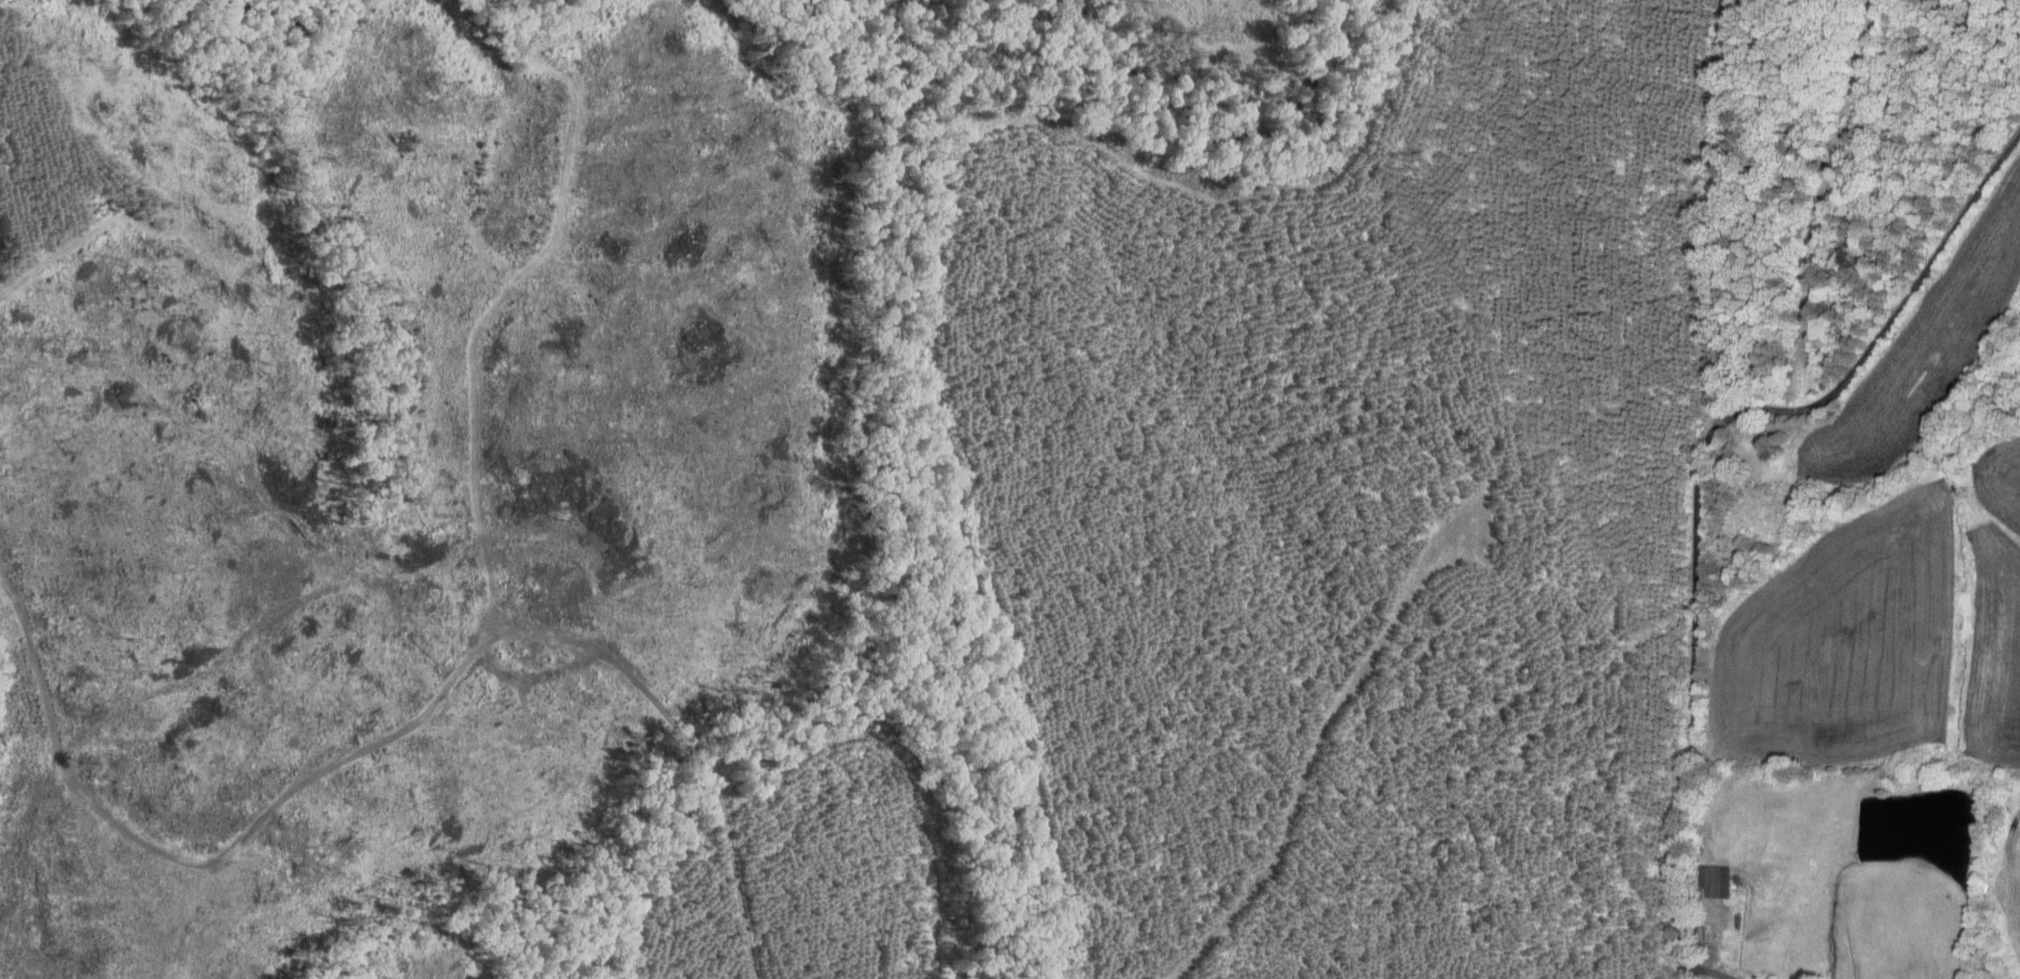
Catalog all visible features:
road: (1698, 463)
building: (1722, 880)

